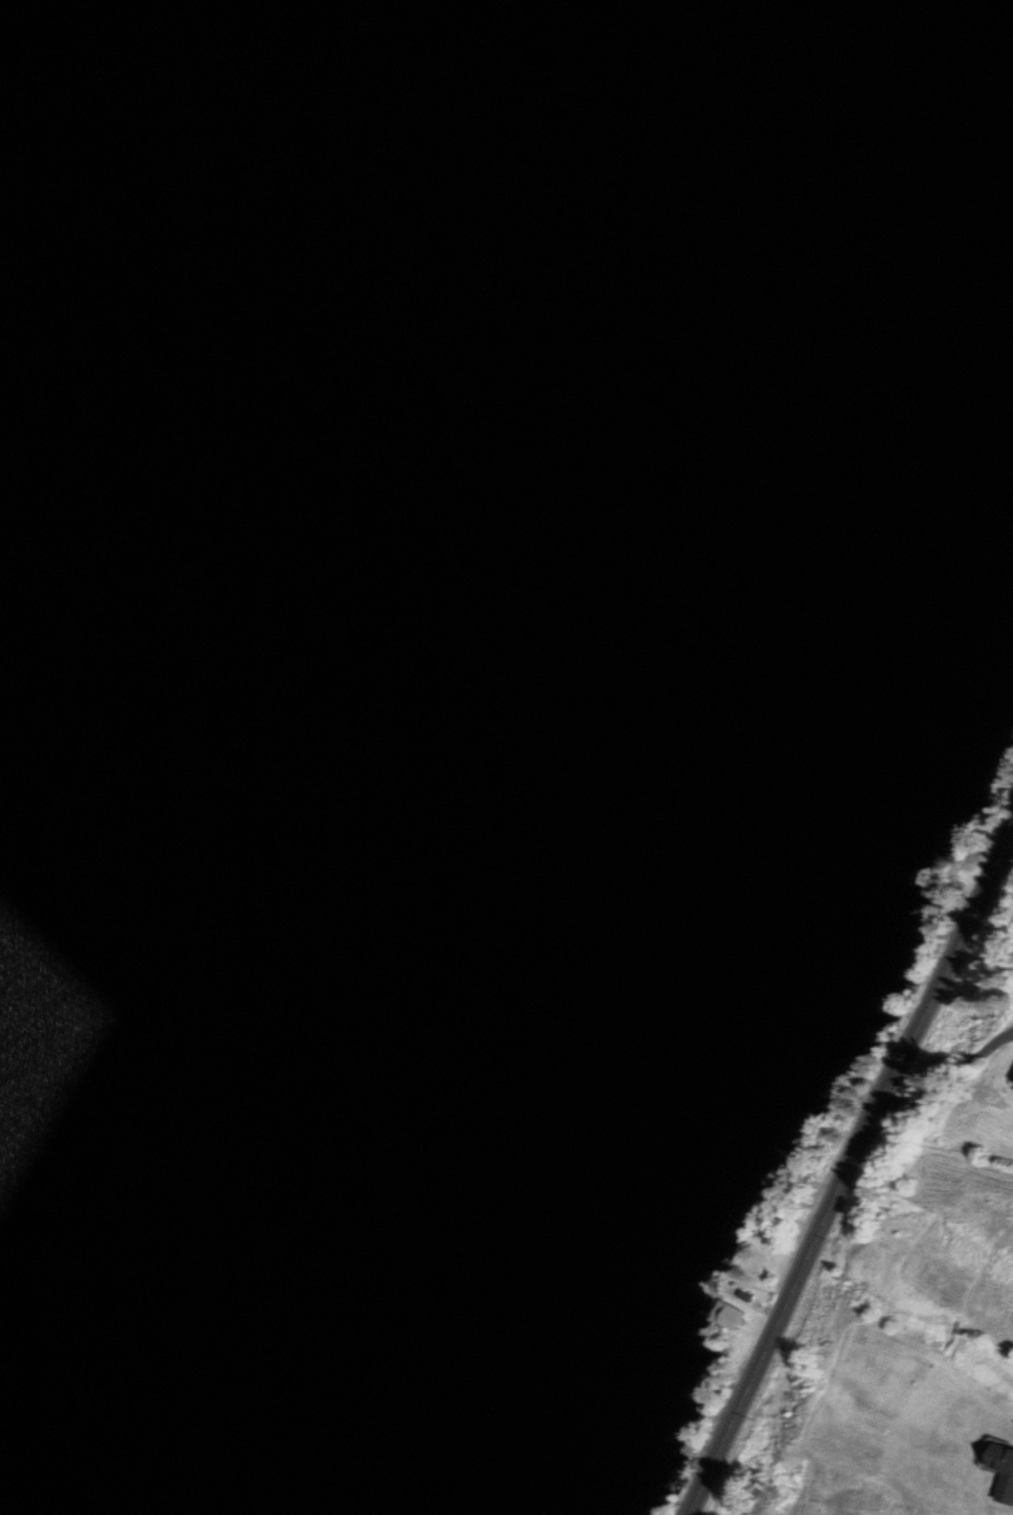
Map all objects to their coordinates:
building: (1012, 1088)
road: (847, 1174)
building: (744, 1296)
building: (726, 1314)
building: (1001, 1469)

